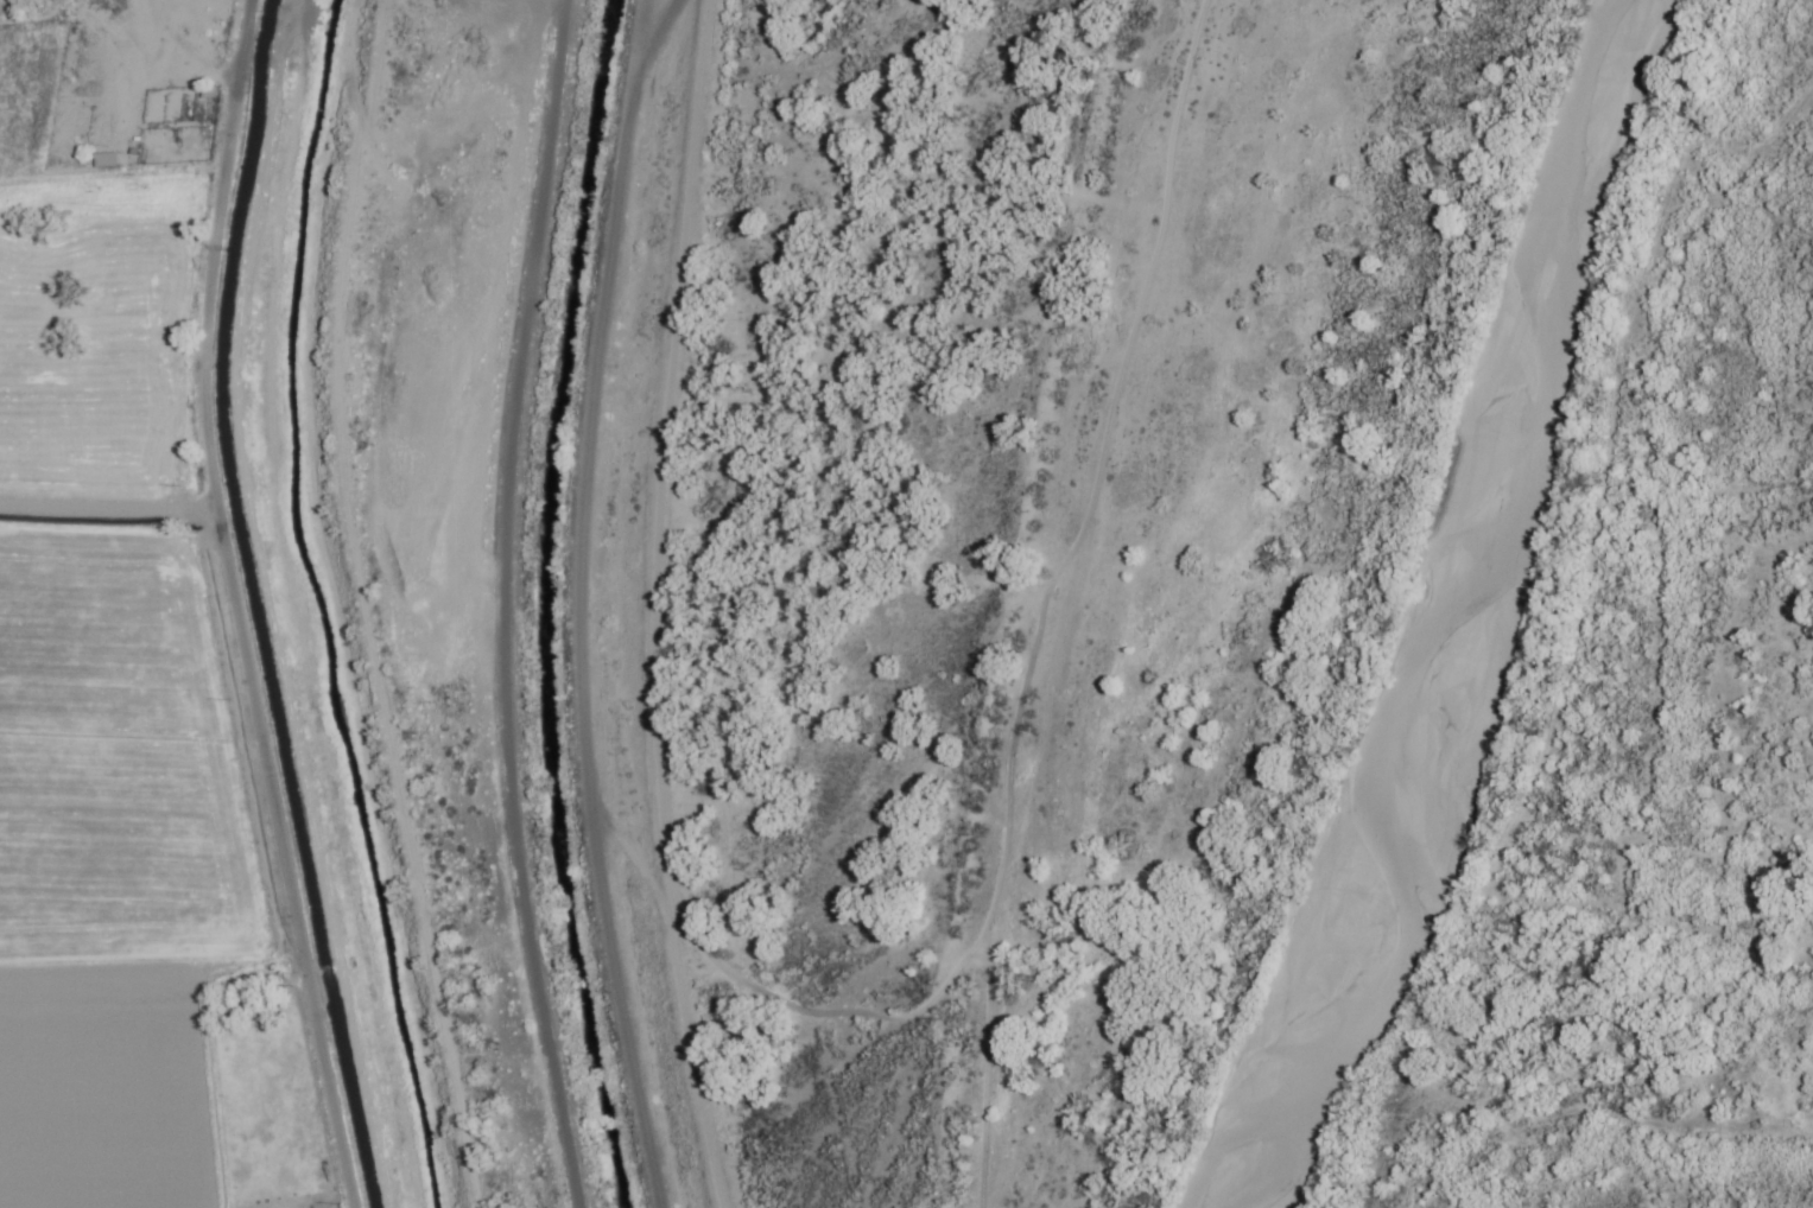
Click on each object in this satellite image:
building: (208, 94)
building: (103, 161)
road: (496, 605)
road: (654, 605)
road: (221, 606)
river: (1466, 615)
crop: (122, 726)

